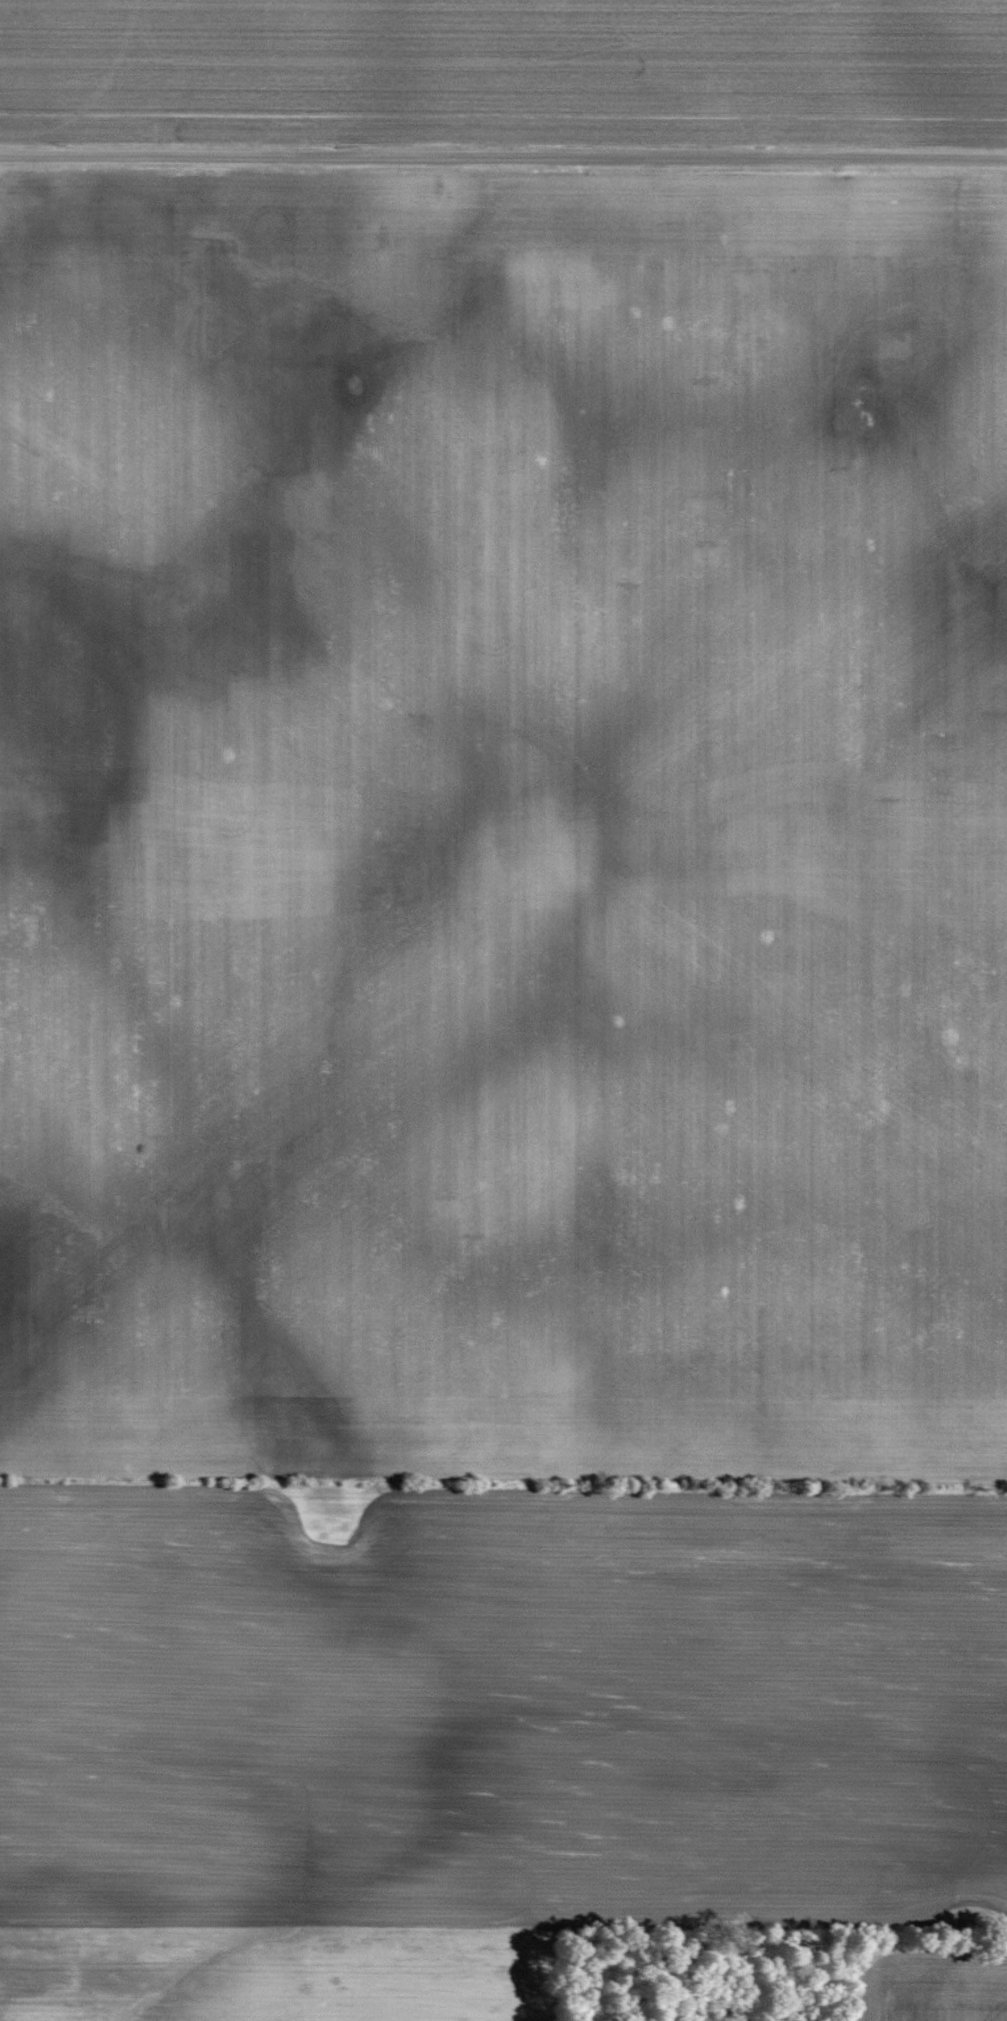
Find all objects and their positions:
road: (503, 157)

